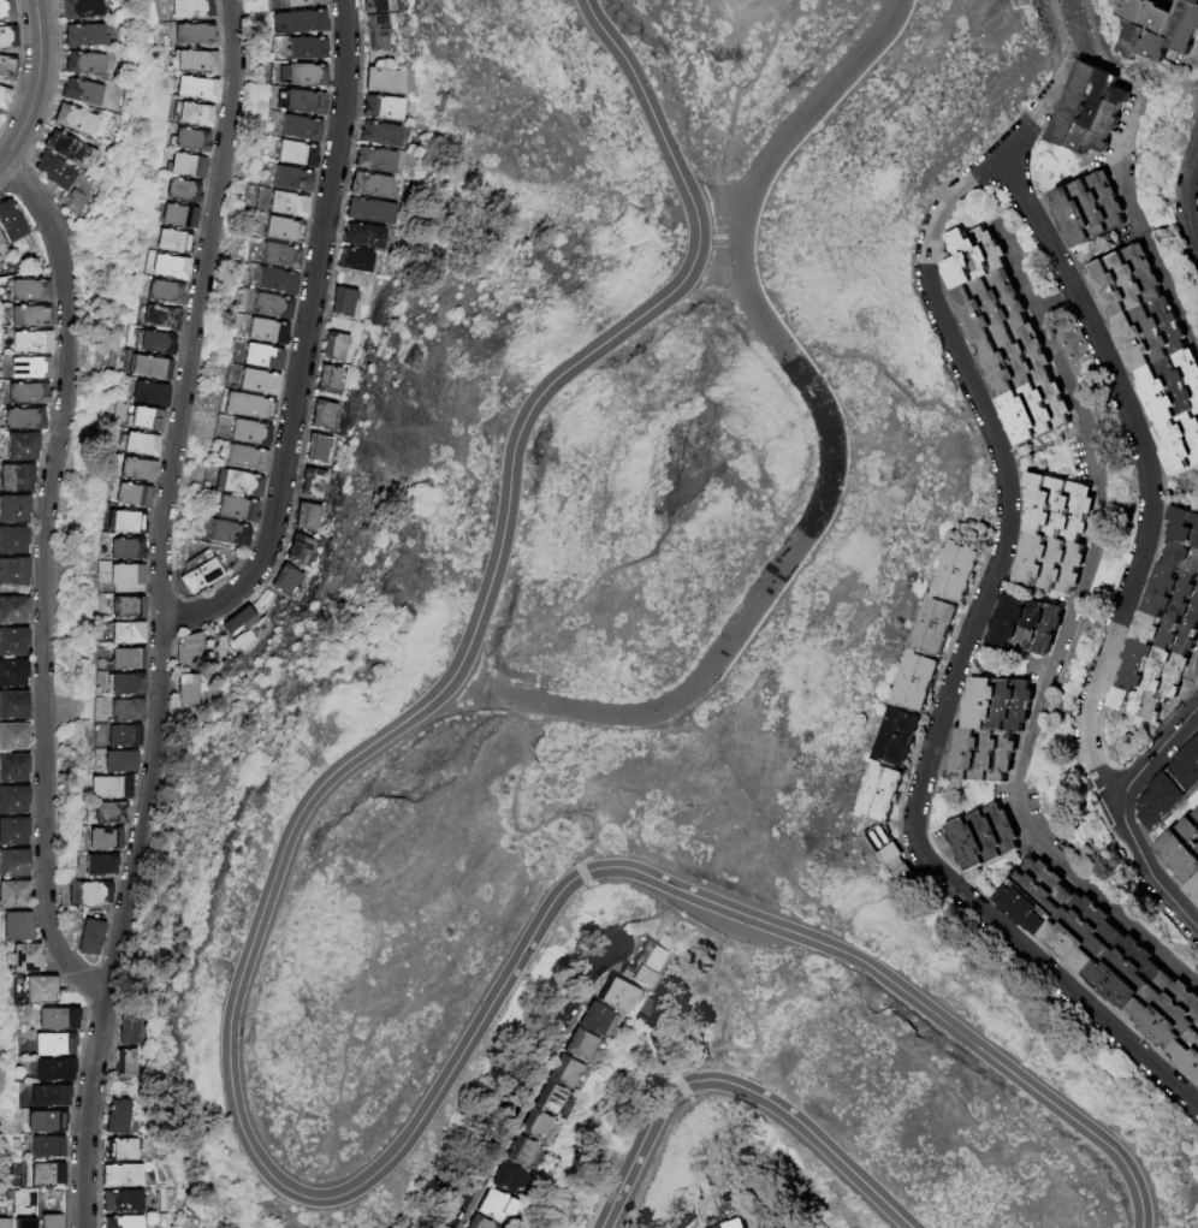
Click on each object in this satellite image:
road: (760, 1)
building: (301, 2)
building: (374, 6)
building: (6, 8)
building: (81, 8)
road: (749, 8)
building: (191, 10)
building: (299, 23)
building: (1158, 29)
building: (378, 34)
building: (83, 36)
building: (194, 36)
building: (7, 38)
building: (306, 49)
road: (1101, 57)
building: (195, 63)
building: (84, 64)
road: (1062, 64)
building: (6, 67)
building: (306, 76)
building: (381, 82)
road: (829, 87)
road: (35, 88)
building: (196, 90)
building: (82, 93)
building: (4, 99)
building: (303, 102)
building: (382, 108)
building: (1090, 111)
building: (194, 117)
building: (73, 120)
building: (301, 130)
building: (379, 136)
road: (1014, 138)
building: (190, 142)
building: (70, 149)
building: (296, 155)
building: (375, 161)
building: (185, 167)
building: (53, 172)
road: (737, 174)
building: (291, 180)
building: (370, 186)
building: (182, 192)
building: (77, 197)
road: (1185, 197)
building: (287, 206)
building: (1090, 209)
building: (370, 213)
building: (177, 218)
building: (10, 223)
road: (1139, 224)
building: (283, 231)
road: (718, 236)
building: (363, 237)
building: (1, 241)
road: (740, 241)
building: (172, 243)
building: (279, 256)
building: (975, 257)
building: (356, 262)
building: (168, 268)
building: (275, 281)
building: (1127, 283)
building: (28, 291)
building: (164, 293)
building: (343, 302)
building: (271, 307)
building: (990, 308)
road: (1058, 308)
road: (197, 309)
road: (737, 314)
building: (29, 316)
building: (161, 320)
building: (266, 332)
building: (1152, 336)
building: (31, 343)
road: (302, 343)
building: (156, 345)
building: (338, 351)
road: (586, 352)
building: (261, 358)
building: (1015, 360)
building: (29, 368)
building: (149, 369)
building: (330, 381)
building: (257, 384)
building: (1173, 388)
building: (26, 394)
building: (148, 394)
building: (248, 407)
building: (1036, 410)
building: (324, 416)
building: (23, 419)
building: (144, 421)
road: (843, 428)
building: (249, 434)
building: (1181, 444)
building: (22, 446)
building: (140, 446)
building: (319, 450)
building: (245, 459)
road: (1144, 461)
building: (136, 470)
building: (16, 477)
building: (238, 484)
building: (313, 484)
building: (131, 497)
building: (1058, 508)
building: (13, 509)
building: (237, 510)
road: (672, 515)
building: (308, 518)
building: (126, 523)
building: (227, 534)
building: (12, 540)
building: (1185, 541)
building: (125, 550)
building: (299, 551)
building: (1050, 563)
building: (13, 570)
building: (957, 573)
building: (198, 574)
building: (125, 576)
building: (286, 581)
road: (43, 582)
building: (1175, 597)
building: (125, 609)
building: (13, 610)
building: (241, 624)
building: (1028, 625)
building: (935, 627)
road: (733, 634)
building: (126, 635)
road: (1063, 636)
building: (13, 641)
building: (1163, 645)
park: (633, 648)
building: (190, 652)
building: (126, 660)
road: (953, 671)
road: (1196, 671)
building: (13, 674)
road: (492, 678)
building: (917, 681)
building: (126, 686)
building: (188, 690)
building: (1145, 692)
building: (13, 705)
building: (1000, 705)
road: (505, 708)
building: (125, 712)
road: (516, 719)
building: (12, 736)
building: (123, 737)
building: (897, 737)
road: (1156, 748)
building: (983, 755)
building: (118, 763)
building: (13, 767)
building: (1188, 767)
building: (109, 789)
road: (1114, 790)
building: (882, 794)
building: (13, 799)
building: (1164, 800)
building: (108, 814)
road: (763, 825)
road: (526, 829)
building: (13, 831)
building: (984, 837)
building: (103, 841)
building: (1184, 849)
building: (13, 864)
building: (896, 864)
building: (100, 866)
road: (1146, 870)
road: (582, 873)
building: (1194, 890)
building: (13, 895)
building: (94, 895)
building: (1036, 897)
road: (641, 918)
road: (125, 924)
building: (16, 926)
building: (1081, 933)
road: (717, 935)
building: (90, 938)
road: (370, 939)
building: (25, 959)
building: (647, 966)
road: (859, 967)
building: (1125, 972)
building: (40, 990)
road: (800, 991)
building: (621, 996)
building: (1168, 1012)
building: (57, 1019)
building: (599, 1019)
road: (954, 1030)
building: (132, 1031)
building: (53, 1044)
building: (585, 1046)
building: (1188, 1055)
building: (127, 1063)
building: (53, 1069)
building: (565, 1070)
road: (677, 1078)
road: (528, 1086)
road: (686, 1093)
building: (47, 1094)
building: (551, 1097)
road: (969, 1111)
building: (118, 1116)
building: (43, 1121)
building: (536, 1123)
road: (807, 1131)
building: (46, 1147)
road: (795, 1147)
building: (121, 1150)
building: (521, 1150)
road: (635, 1152)
road: (653, 1162)
road: (1144, 1168)
building: (46, 1174)
building: (121, 1175)
building: (509, 1176)
road: (309, 1198)
building: (123, 1200)
building: (496, 1204)
building: (51, 1221)
building: (124, 1222)
building: (480, 1222)
building: (5, 1223)
building: (24, 1223)
building: (718, 1226)
building: (772, 1226)
building: (376, 1227)
building: (391, 1227)
building: (778, 1227)

